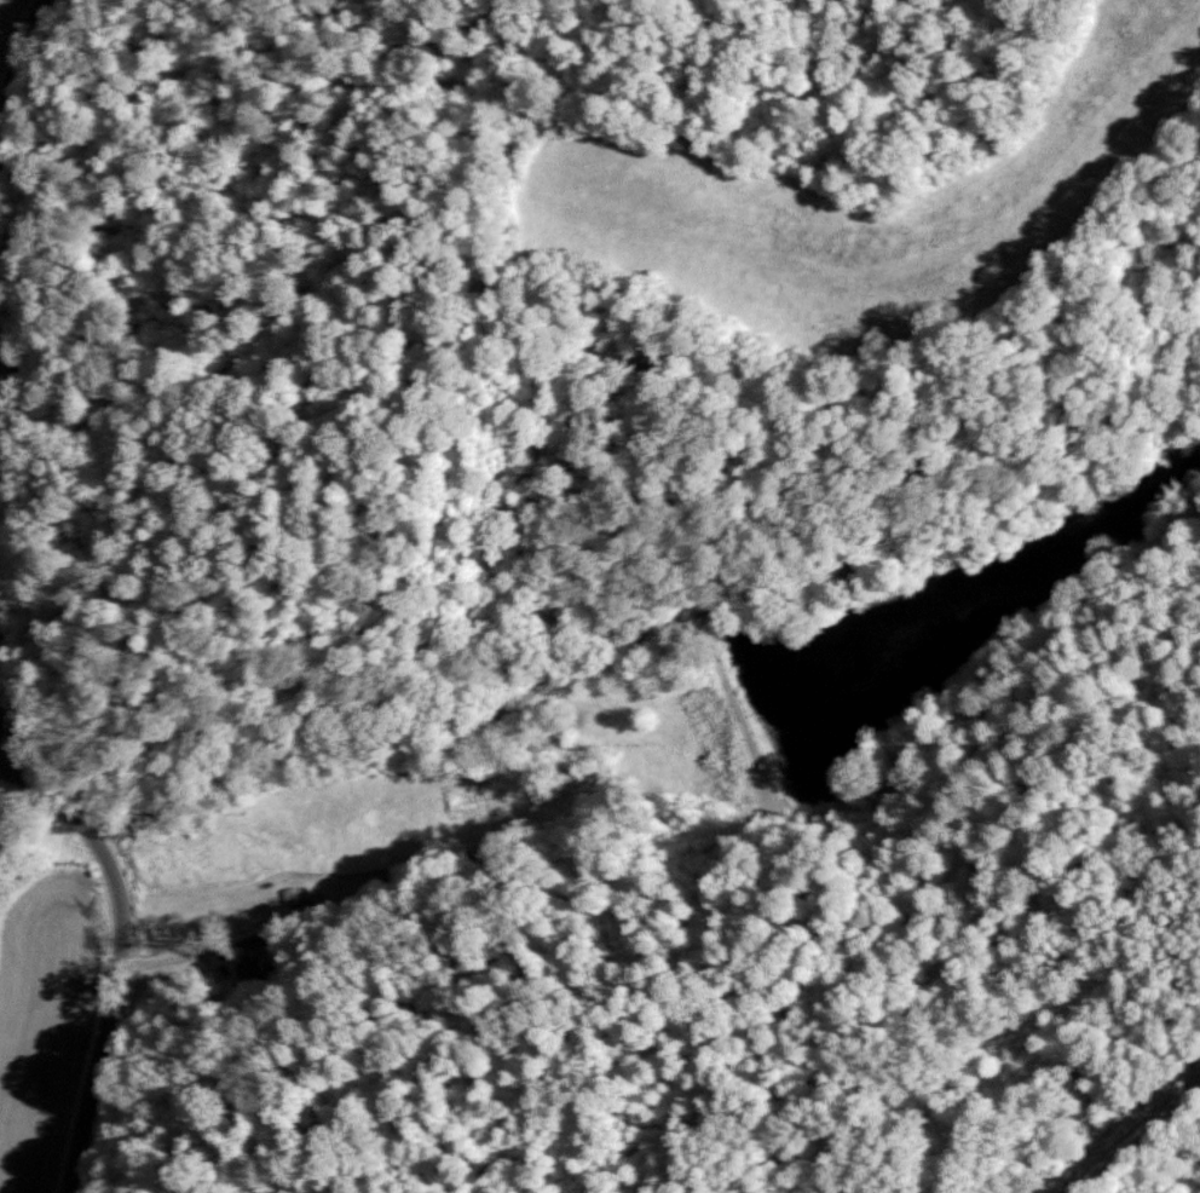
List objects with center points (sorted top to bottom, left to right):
road: (13, 62)
road: (318, 755)
road: (119, 956)

